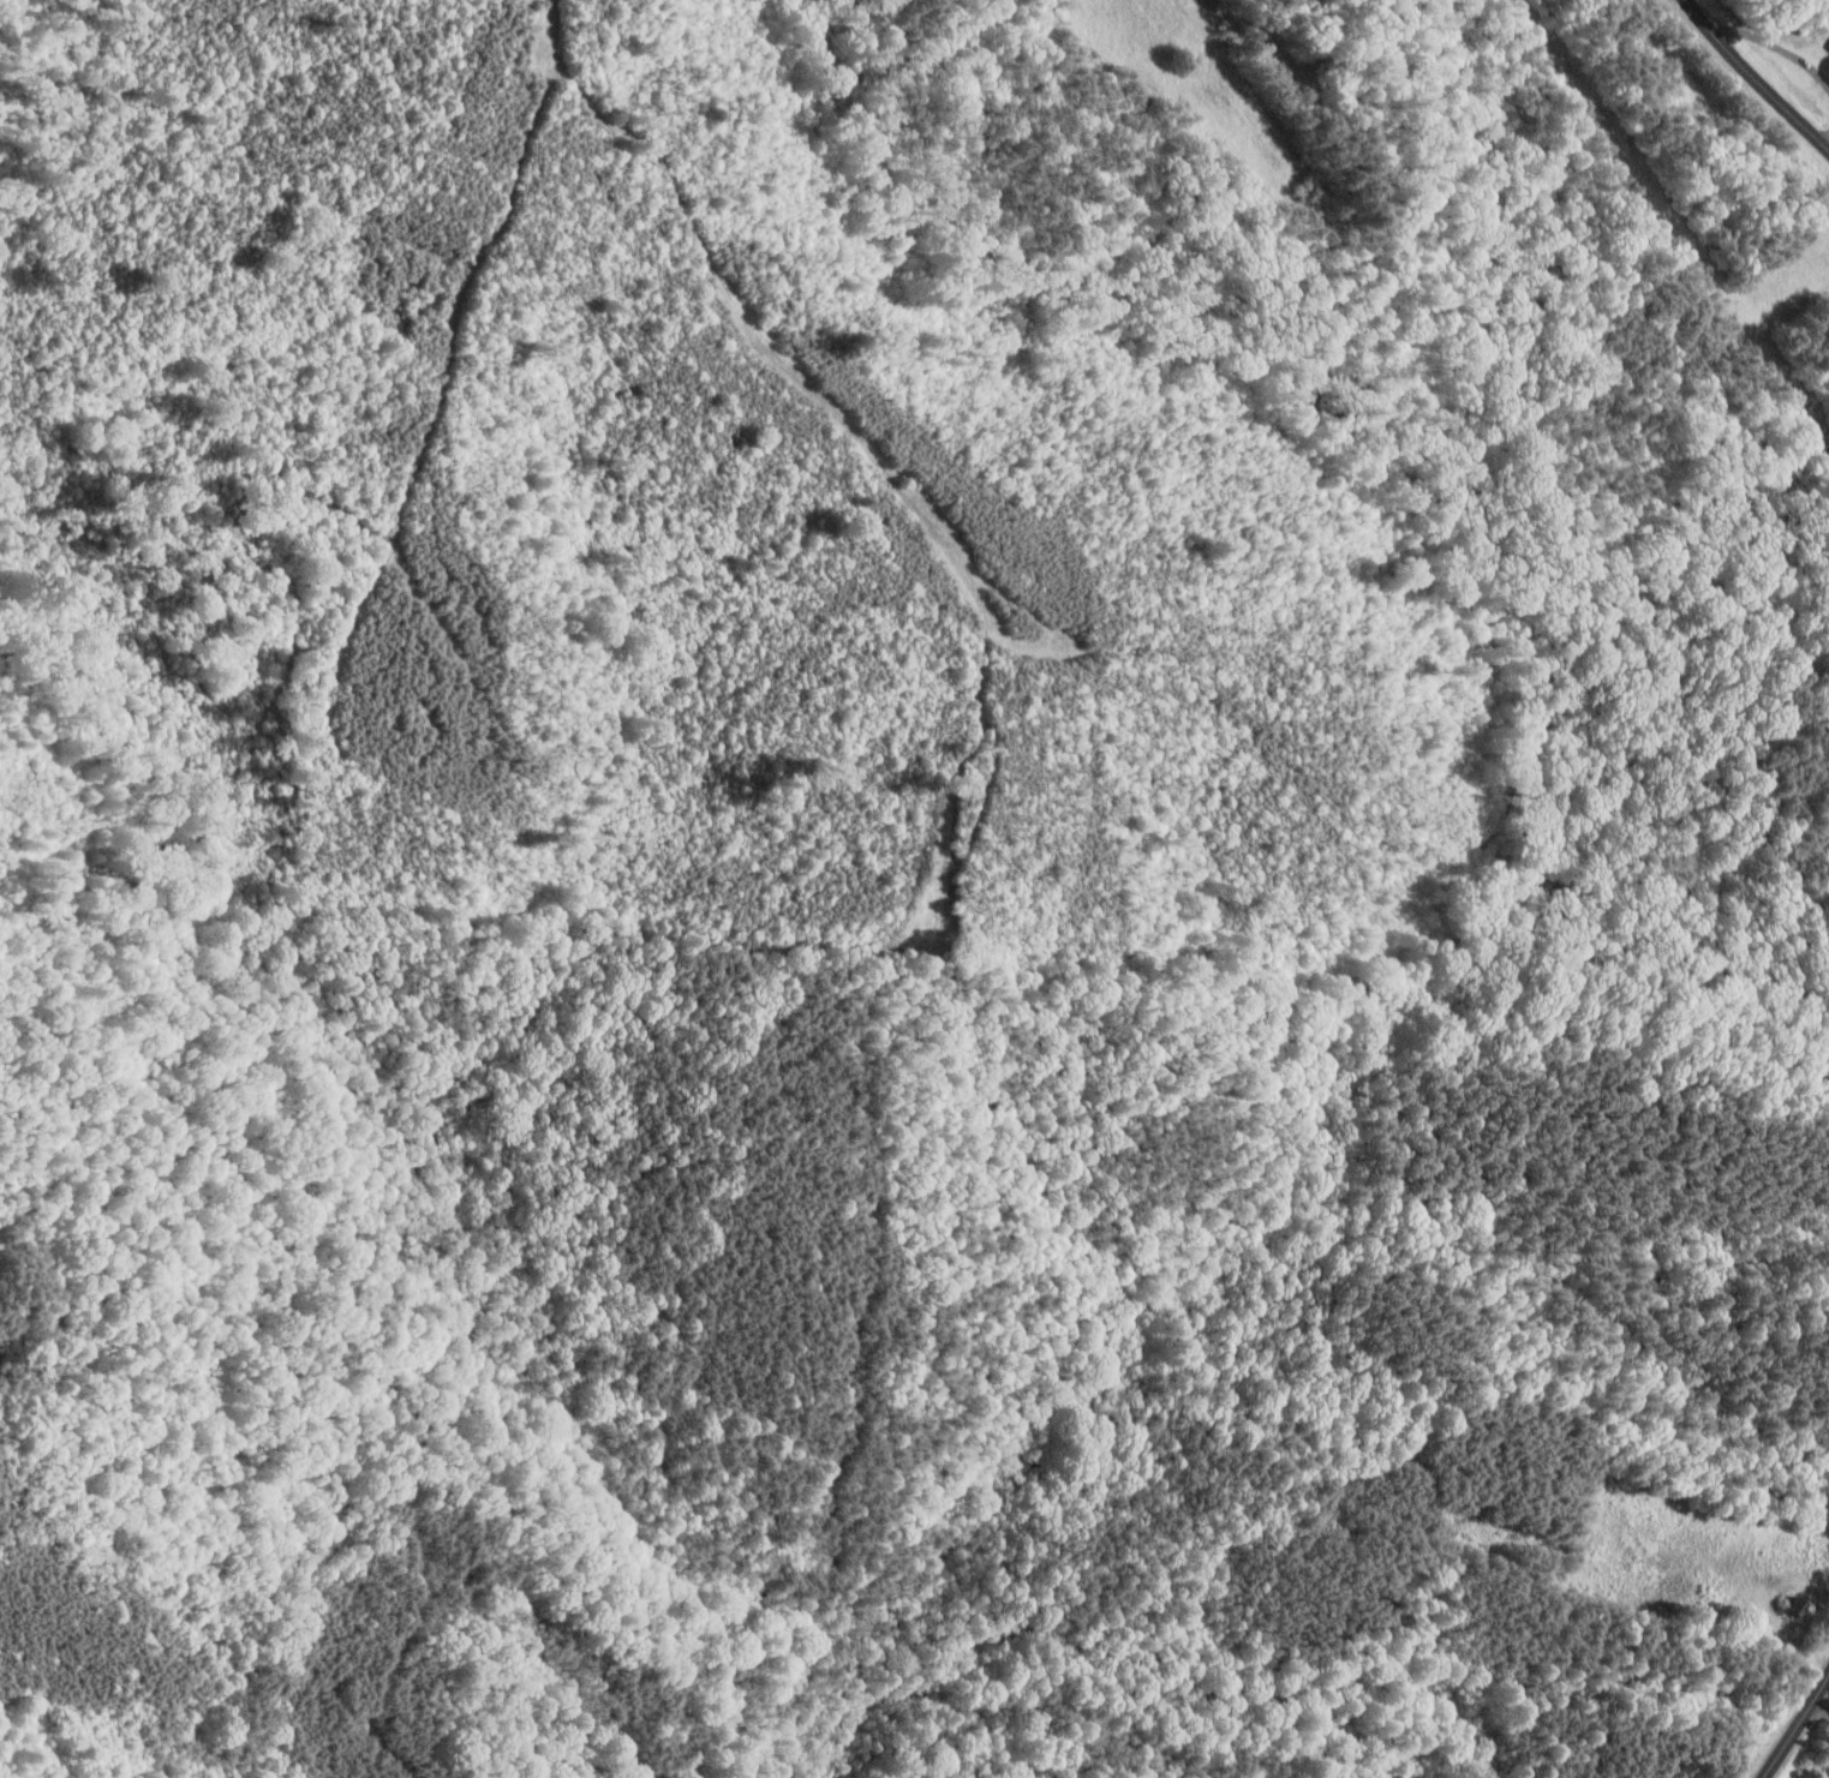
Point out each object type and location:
road: (1775, 46)
road: (1759, 76)
road: (1827, 143)
road: (1800, 1734)

